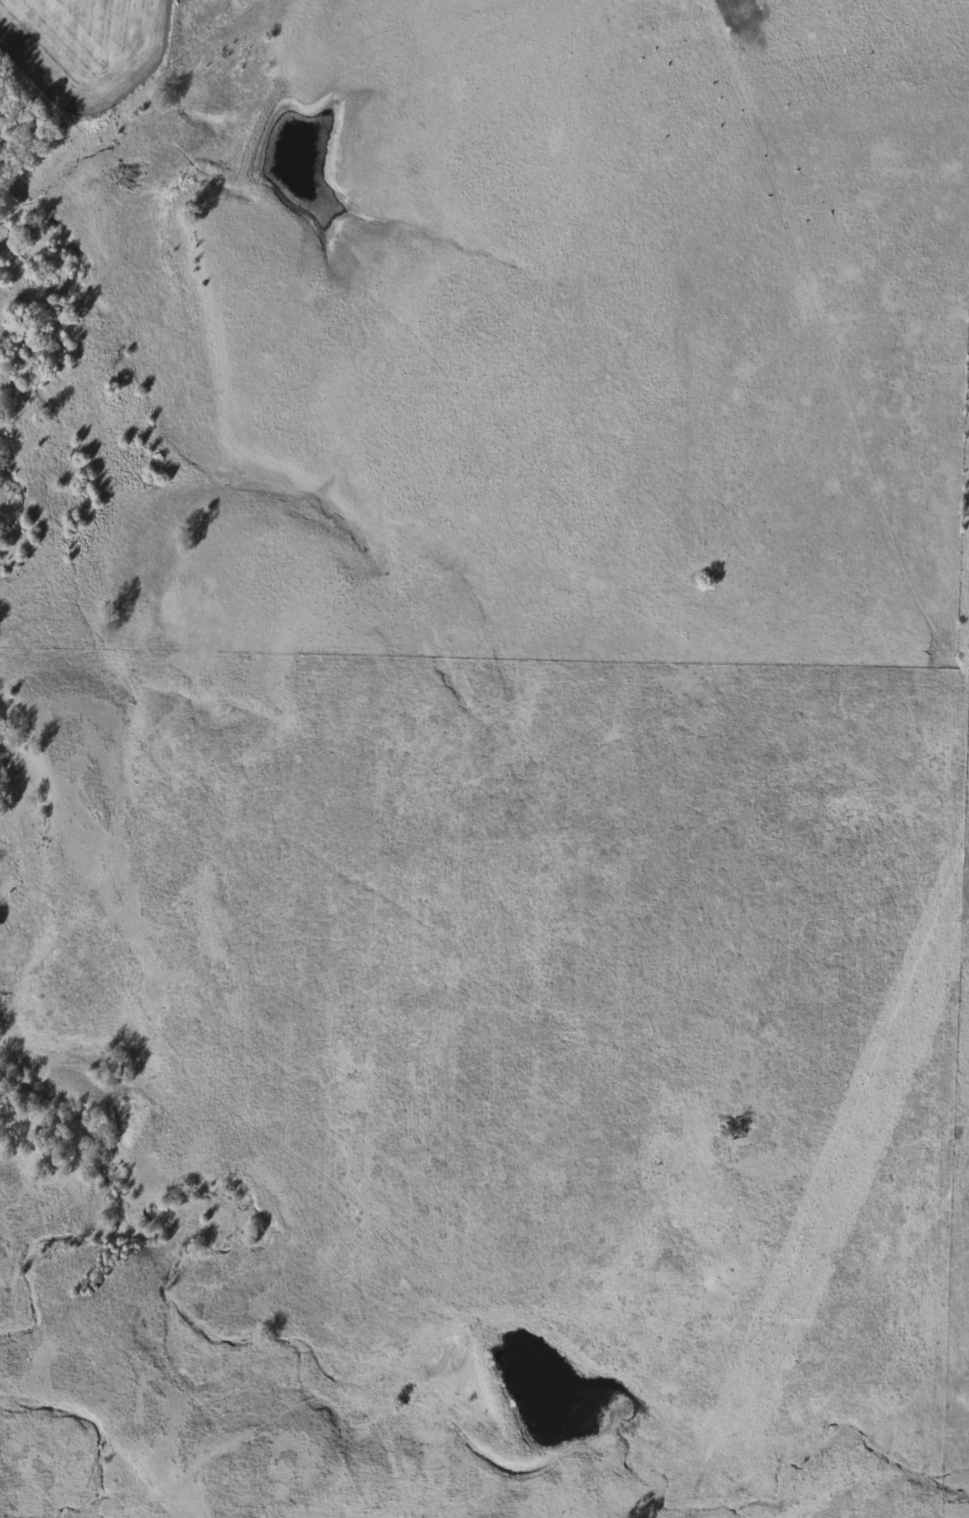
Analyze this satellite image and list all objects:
road: (756, 1139)

